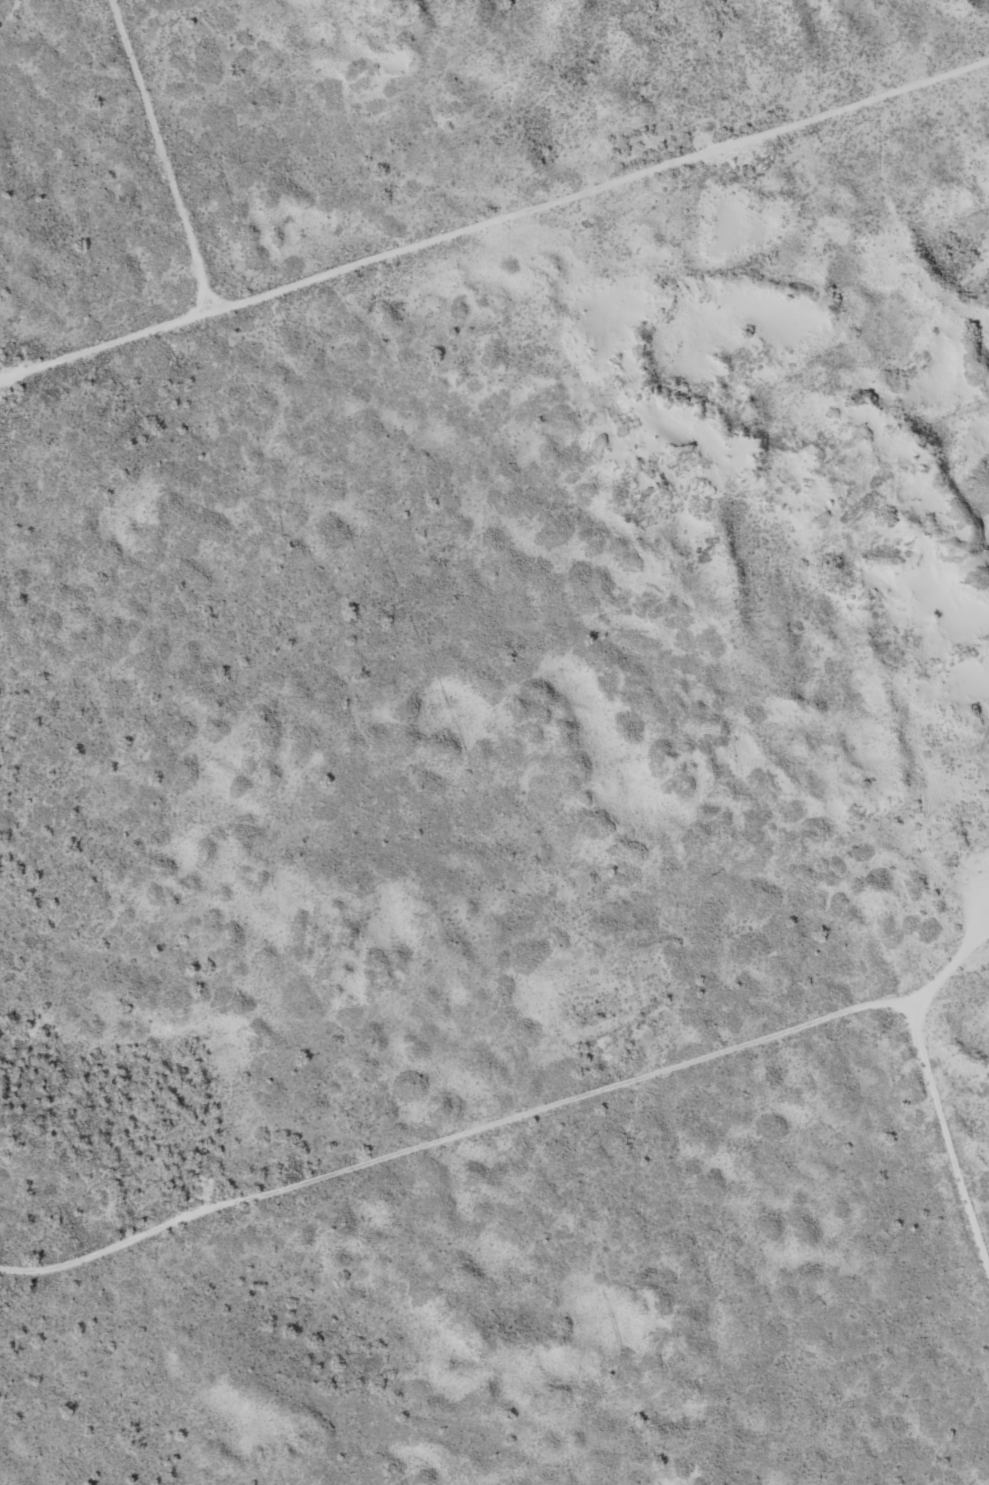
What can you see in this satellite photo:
road: (158, 168)
road: (103, 375)
road: (576, 1109)

